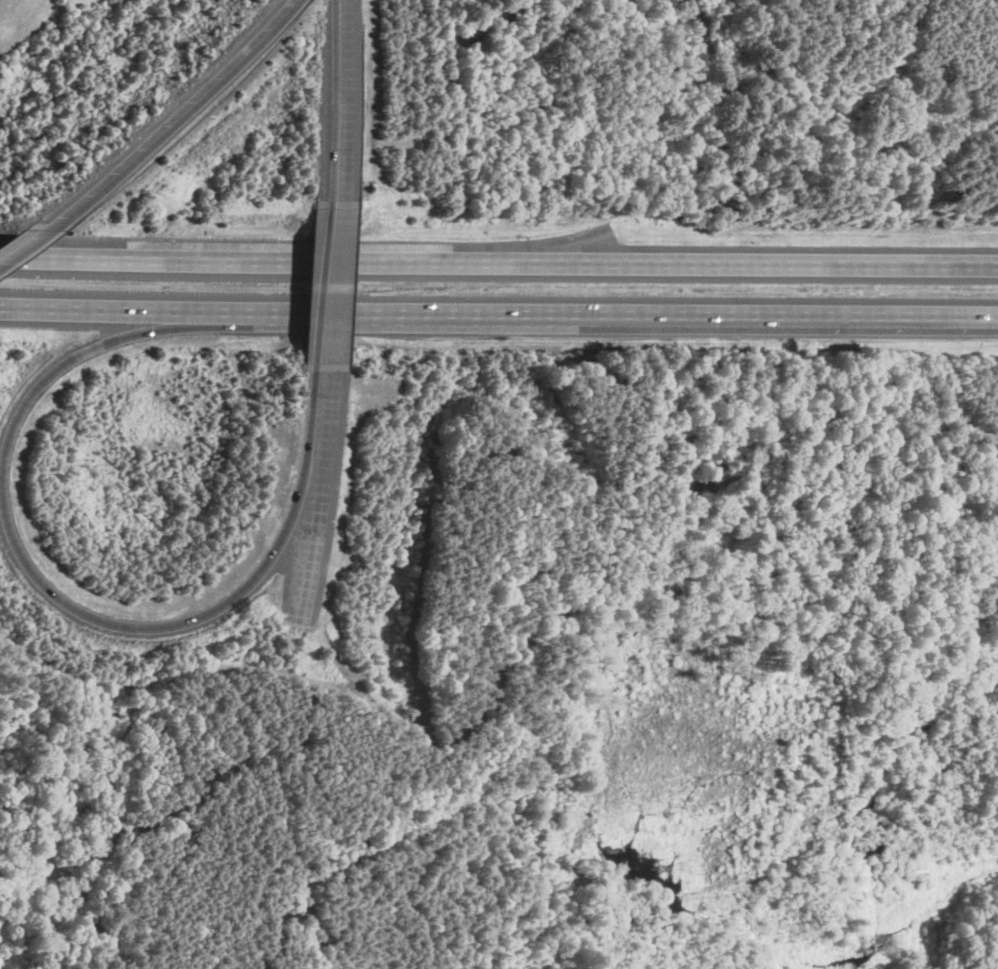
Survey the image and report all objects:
road: (340, 99)
road: (170, 121)
road: (22, 243)
road: (498, 261)
road: (330, 288)
road: (498, 320)
road: (93, 348)
road: (318, 418)
road: (172, 624)

